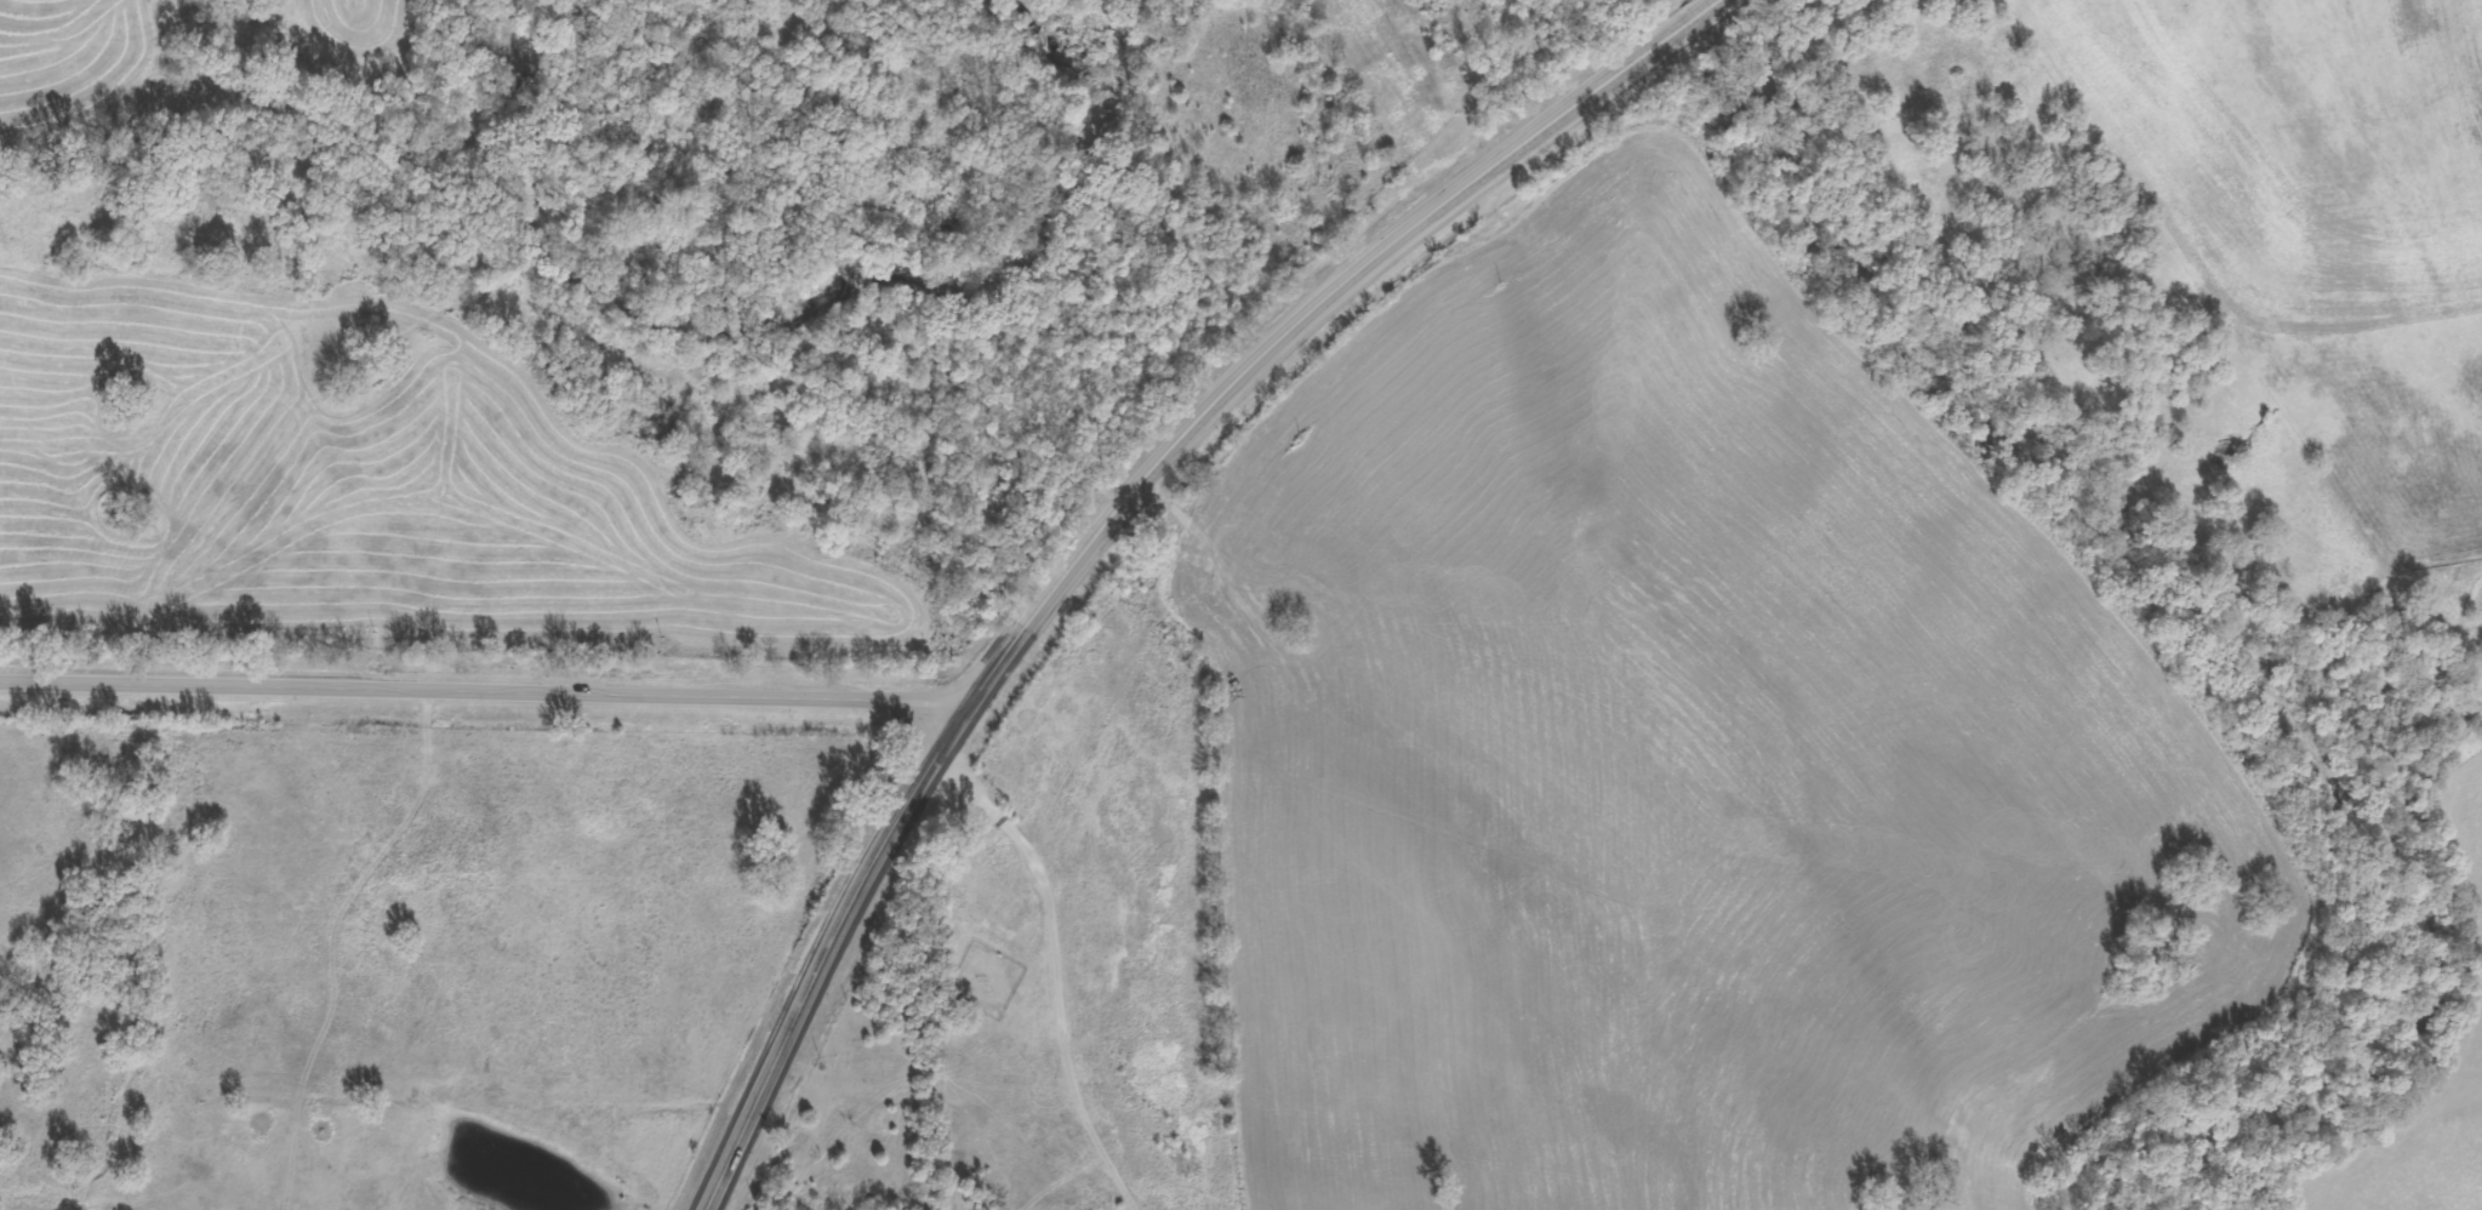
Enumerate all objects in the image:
road: (1310, 316)
road: (485, 692)
road: (823, 949)
road: (1055, 969)

